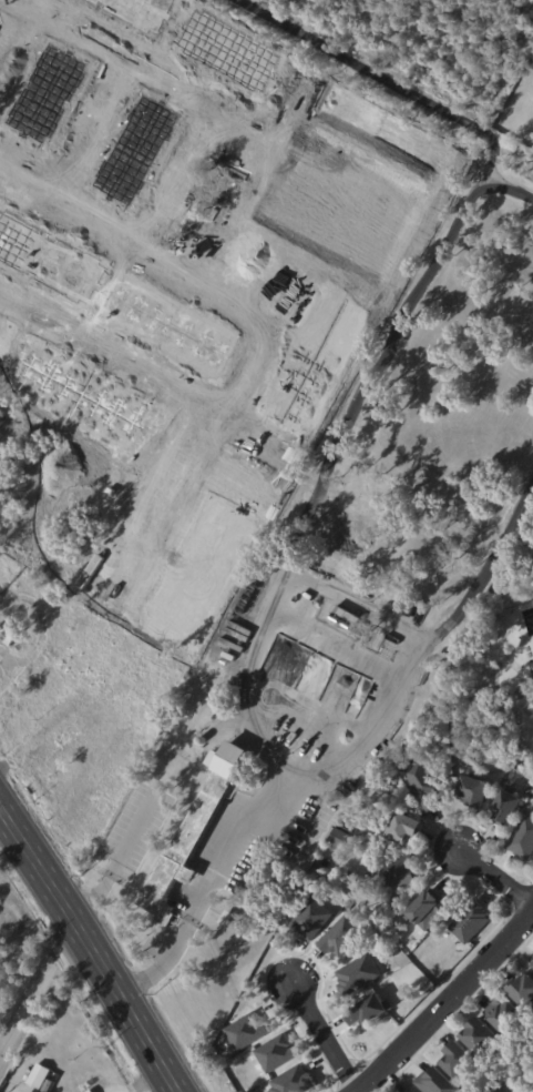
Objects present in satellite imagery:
road: (157, 71)
road: (372, 72)
road: (105, 93)
road: (501, 185)
road: (324, 476)
building: (81, 620)
building: (9, 634)
building: (532, 664)
building: (532, 667)
building: (130, 670)
building: (489, 676)
road: (380, 728)
building: (57, 754)
building: (423, 783)
building: (473, 795)
building: (505, 811)
road: (2, 816)
parking lot: (135, 825)
building: (406, 830)
building: (193, 835)
building: (338, 839)
building: (523, 841)
road: (117, 858)
building: (392, 872)
road: (495, 878)
building: (426, 913)
building: (310, 919)
building: (225, 921)
building: (470, 924)
building: (340, 934)
road: (91, 948)
road: (158, 963)
building: (532, 965)
building: (356, 973)
road: (38, 990)
building: (522, 991)
road: (448, 1004)
building: (369, 1012)
building: (503, 1014)
building: (246, 1030)
road: (322, 1037)
building: (479, 1037)
building: (276, 1052)
building: (457, 1060)
building: (37, 1076)
building: (293, 1081)
building: (435, 1082)
building: (49, 1086)
building: (91, 1091)
building: (412, 1091)

